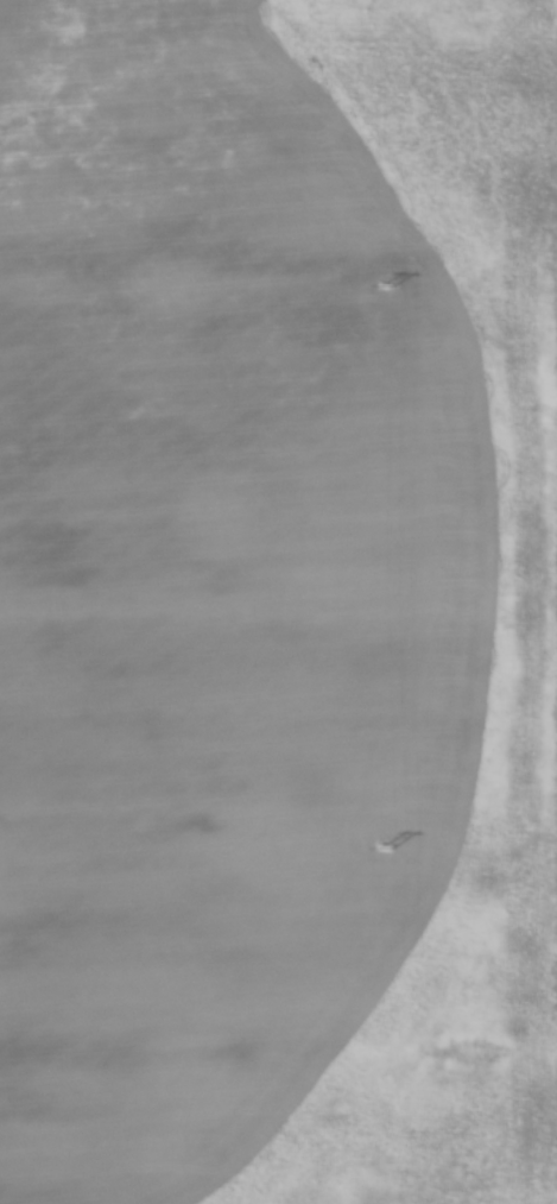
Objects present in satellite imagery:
power tower: (384, 288)
power tower: (384, 851)

